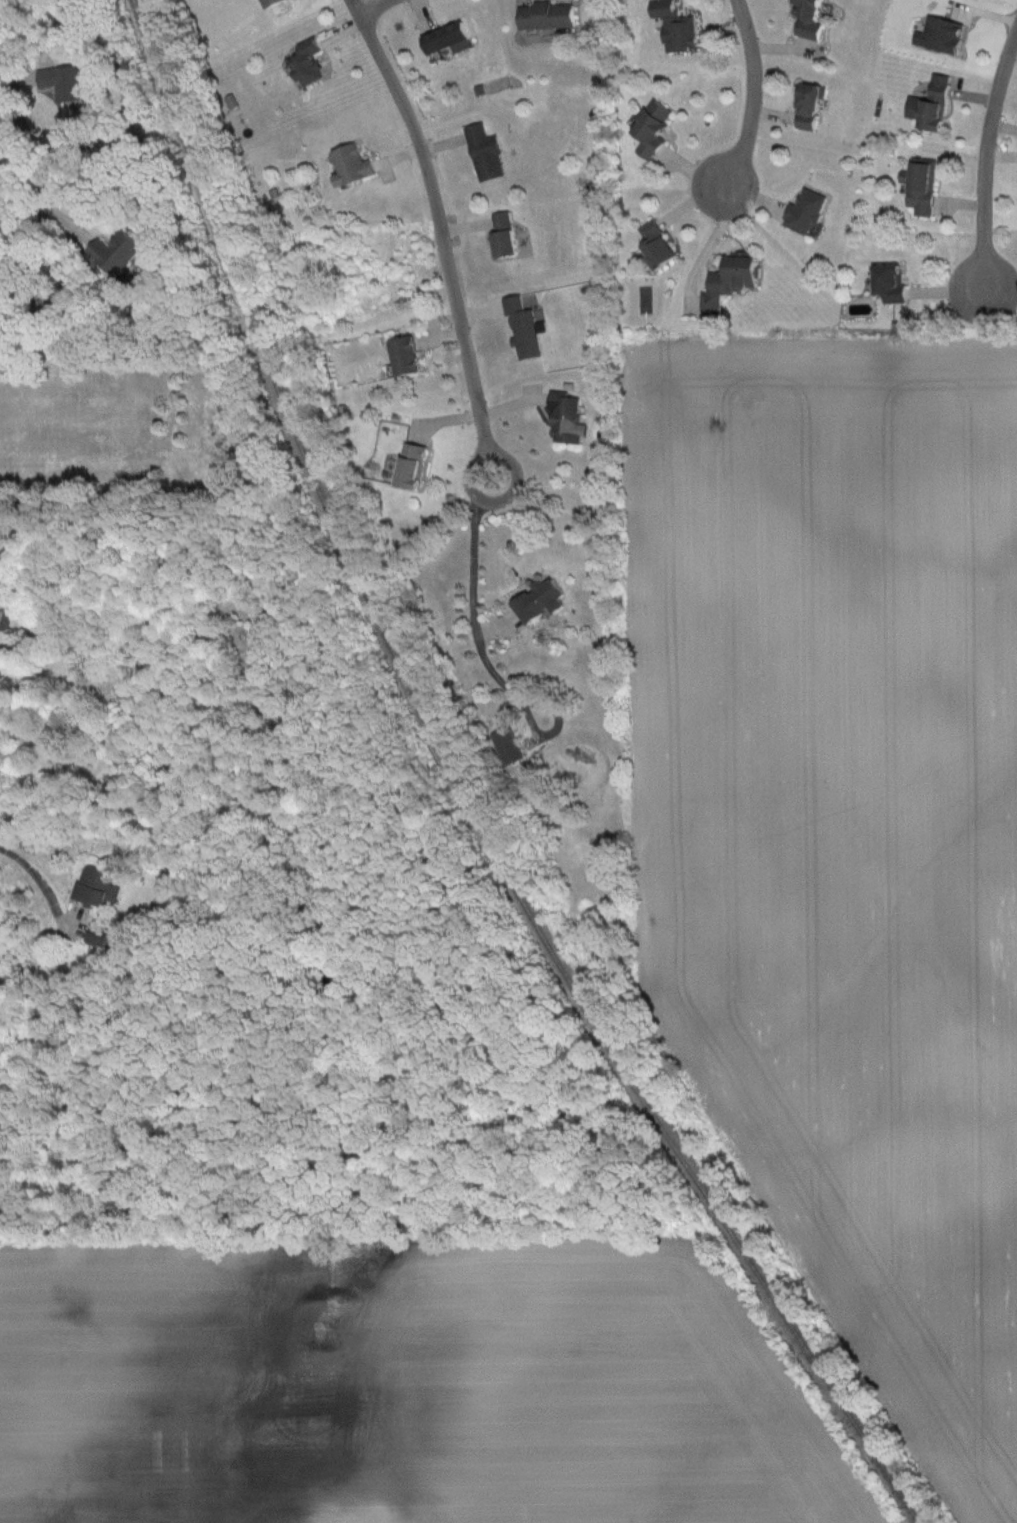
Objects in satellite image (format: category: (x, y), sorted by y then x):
building: (274, 3)
road: (360, 3)
building: (548, 16)
building: (811, 19)
building: (677, 27)
building: (943, 34)
building: (450, 39)
building: (311, 64)
building: (52, 80)
road: (746, 95)
building: (937, 105)
building: (811, 106)
building: (654, 128)
road: (29, 148)
building: (486, 152)
road: (986, 159)
building: (354, 166)
building: (925, 185)
building: (808, 212)
road: (436, 230)
building: (506, 234)
building: (658, 244)
building: (111, 254)
building: (892, 282)
building: (733, 283)
building: (408, 356)
building: (567, 418)
building: (413, 467)
road: (468, 590)
building: (543, 602)
building: (4, 618)
building: (509, 746)
railway: (463, 795)
crop: (840, 837)
road: (33, 886)
building: (99, 886)
building: (99, 939)
building: (371, 1521)

